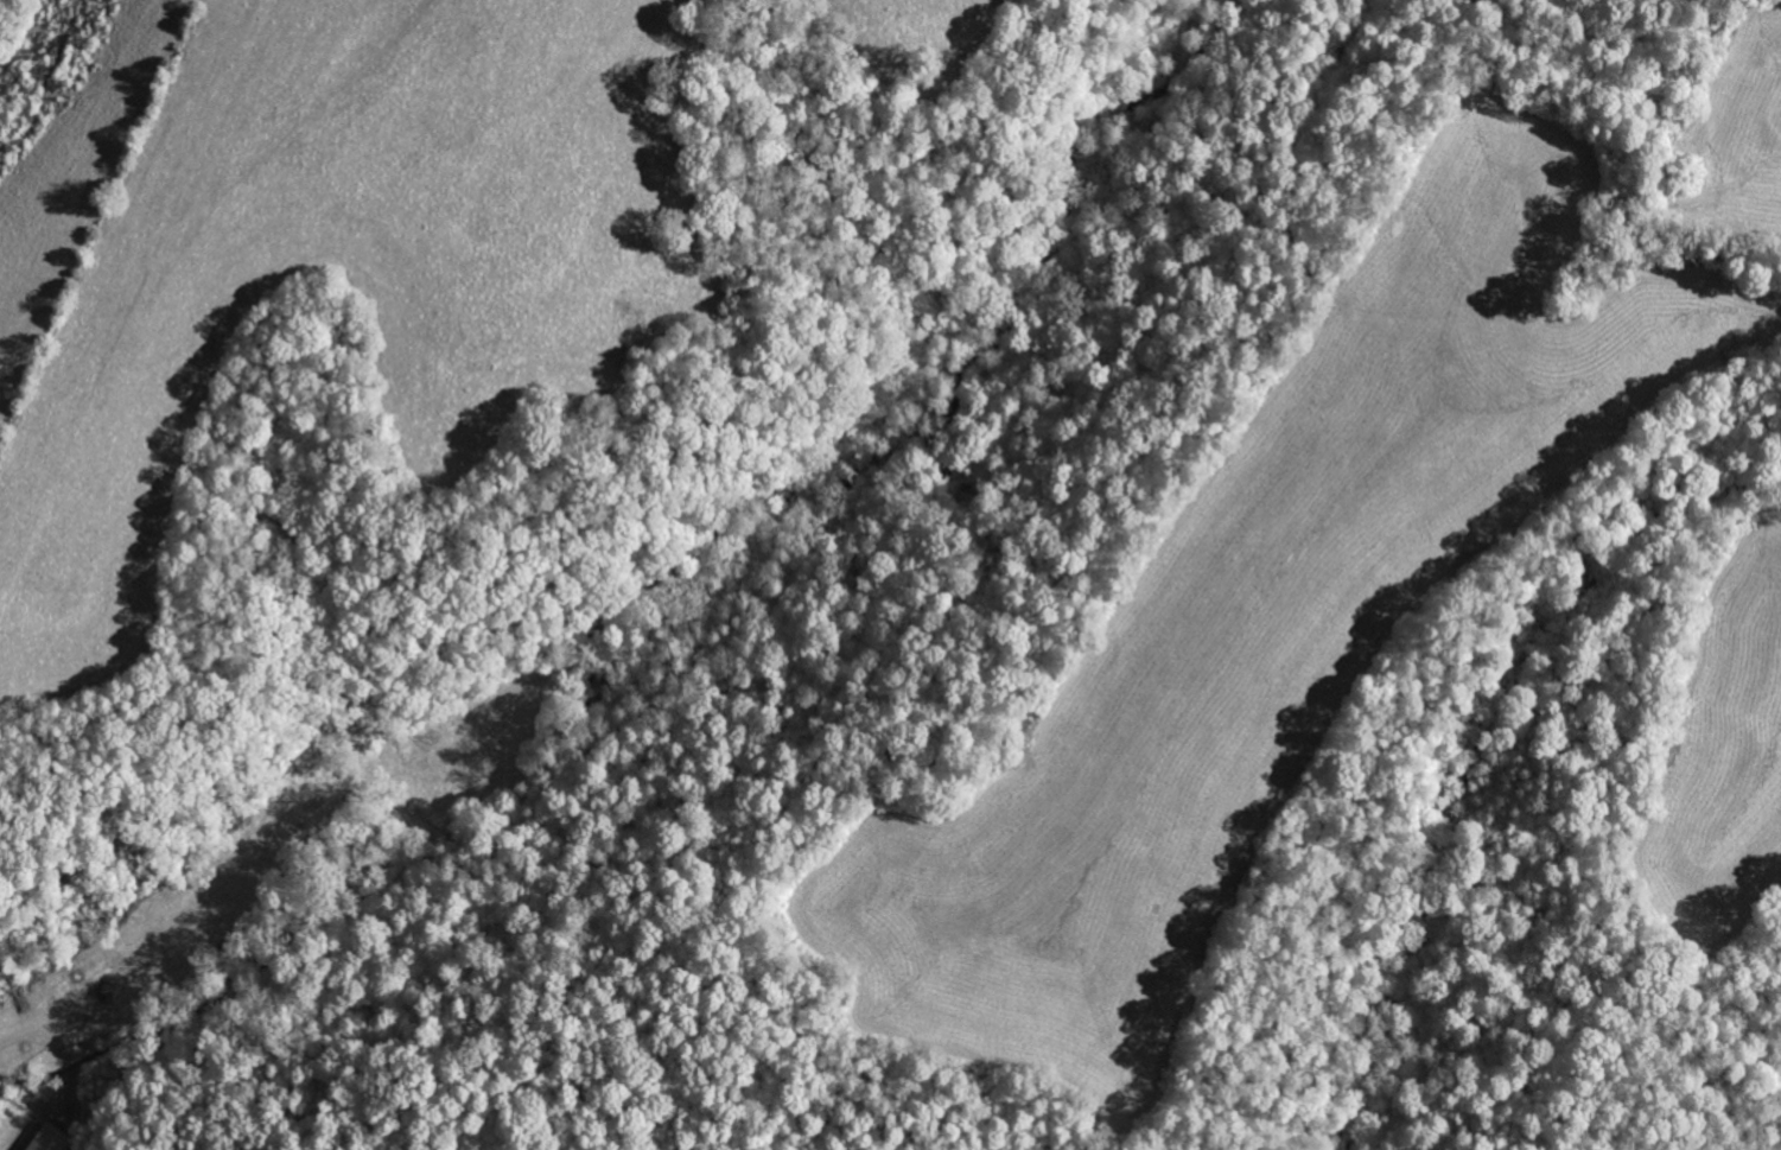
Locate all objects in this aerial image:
building: (46, 1139)

